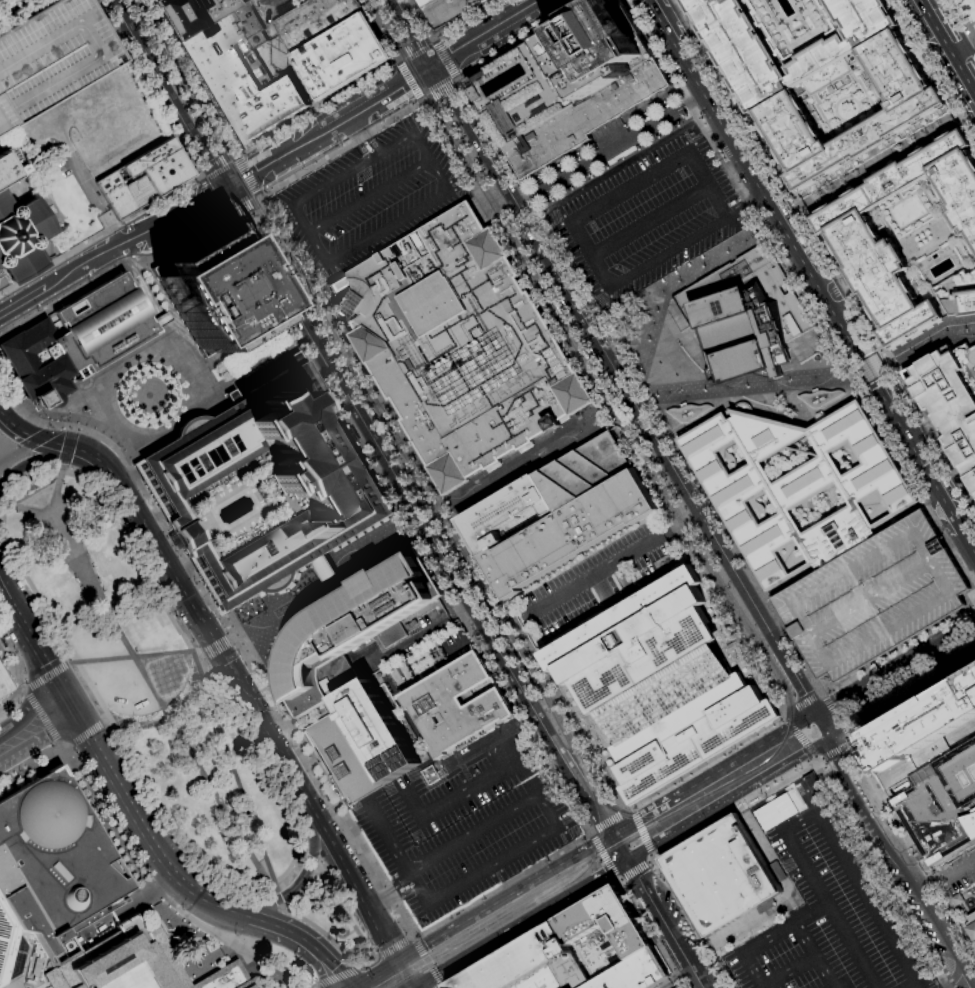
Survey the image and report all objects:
road: (0, 0)
building: (484, 1)
road: (536, 4)
parking lot: (274, 6)
road: (13, 7)
building: (445, 10)
building: (189, 13)
road: (24, 15)
road: (964, 16)
building: (861, 19)
building: (314, 20)
road: (658, 22)
road: (392, 25)
road: (442, 29)
road: (957, 29)
road: (414, 32)
road: (481, 37)
road: (427, 38)
road: (430, 39)
road: (413, 47)
road: (946, 47)
building: (739, 50)
building: (342, 56)
road: (398, 56)
building: (52, 57)
parking lot: (52, 57)
road: (443, 58)
building: (817, 59)
road: (940, 59)
road: (397, 60)
traffic signals: (433, 66)
road: (934, 68)
building: (239, 75)
road: (456, 78)
road: (408, 79)
road: (175, 80)
road: (456, 82)
building: (568, 85)
road: (149, 87)
road: (439, 91)
road: (865, 91)
road: (385, 94)
road: (167, 95)
road: (863, 99)
road: (421, 100)
road: (425, 102)
road: (834, 103)
building: (780, 110)
road: (819, 113)
parking lot: (594, 120)
road: (856, 122)
road: (829, 130)
road: (267, 134)
road: (611, 135)
road: (351, 142)
road: (4, 143)
road: (608, 149)
road: (252, 150)
road: (470, 153)
road: (233, 155)
road: (875, 155)
road: (236, 156)
building: (149, 157)
road: (281, 157)
road: (877, 160)
building: (9, 165)
road: (217, 165)
road: (881, 165)
road: (291, 170)
building: (167, 172)
road: (513, 173)
road: (20, 174)
road: (202, 174)
road: (248, 175)
road: (202, 176)
parking lot: (79, 177)
road: (88, 183)
road: (630, 186)
road: (737, 186)
building: (140, 191)
traffic signals: (225, 191)
building: (116, 194)
parking lot: (372, 195)
road: (213, 196)
road: (260, 196)
road: (370, 197)
road: (260, 200)
road: (295, 205)
road: (495, 207)
flagpole: (123, 208)
road: (744, 208)
road: (245, 209)
road: (189, 210)
road: (225, 217)
parking lot: (647, 218)
road: (229, 219)
road: (242, 221)
road: (649, 221)
road: (908, 222)
road: (100, 233)
street lamp: (752, 235)
building: (21, 238)
building: (852, 239)
road: (537, 242)
street lamp: (728, 250)
road: (666, 253)
road: (823, 254)
road: (99, 255)
road: (52, 258)
road: (820, 260)
street lamp: (704, 265)
road: (805, 268)
road: (1, 270)
road: (140, 279)
road: (9, 281)
street lamp: (679, 281)
road: (674, 283)
building: (213, 291)
road: (159, 293)
street lamp: (662, 293)
building: (958, 294)
road: (23, 300)
street lamp: (655, 313)
building: (743, 317)
street lamp: (966, 326)
street lamp: (946, 329)
road: (245, 338)
street lamp: (648, 338)
road: (929, 338)
building: (76, 340)
street lamp: (929, 340)
road: (142, 341)
building: (459, 347)
street lamp: (911, 350)
park: (254, 352)
traffic signals: (882, 365)
road: (262, 366)
road: (348, 367)
road: (869, 371)
traffic signals: (868, 372)
railway: (607, 374)
railway: (361, 378)
street lamp: (812, 379)
street lamp: (789, 380)
flagpole: (13, 384)
street lamp: (746, 385)
road: (748, 387)
street lamp: (704, 389)
street lamp: (681, 391)
park: (143, 394)
street lamp: (654, 394)
building: (819, 397)
flagpole: (23, 401)
road: (617, 401)
building: (950, 401)
building: (687, 412)
road: (652, 413)
road: (642, 419)
road: (15, 428)
road: (626, 428)
road: (41, 433)
road: (71, 447)
traffic signals: (71, 449)
road: (76, 451)
road: (10, 453)
road: (32, 454)
road: (31, 462)
railway: (649, 467)
flagpole: (136, 468)
road: (518, 470)
street lamp: (525, 470)
flagpole: (138, 471)
flagpole: (140, 474)
flagpole: (142, 478)
street lamp: (511, 478)
flagpole: (144, 481)
flagpole: (145, 484)
building: (269, 484)
building: (795, 484)
flagpole: (147, 487)
street lamp: (493, 489)
flagpole: (149, 490)
flagpole: (151, 493)
road: (58, 495)
flagpole: (153, 496)
street lamp: (482, 496)
flagpole: (154, 499)
flagpole: (157, 503)
road: (931, 503)
road: (3, 504)
flagpole: (158, 506)
road: (945, 508)
flagpole: (160, 509)
flagpole: (162, 511)
road: (29, 512)
building: (503, 513)
building: (573, 513)
flagpole: (164, 515)
road: (418, 520)
road: (942, 522)
road: (957, 527)
flagpole: (171, 532)
flagpole: (169, 533)
flagpole: (170, 536)
flagpole: (172, 540)
flagpole: (174, 543)
street lamp: (383, 543)
road: (968, 544)
road: (432, 545)
flagpole: (175, 546)
flagpole: (177, 549)
flagpole: (183, 550)
flagpole: (180, 551)
street lamp: (366, 552)
road: (378, 552)
street lamp: (350, 561)
flagpole: (194, 564)
road: (613, 564)
road: (728, 566)
flagpole: (196, 567)
flagpole: (198, 569)
flagpole: (199, 573)
flagpole: (201, 575)
building: (328, 575)
flagpole: (203, 578)
flagpole: (204, 580)
road: (332, 580)
flagpole: (206, 583)
parking lot: (595, 584)
street lamp: (311, 585)
flagpole: (208, 586)
flagpole: (210, 590)
flagpole: (211, 593)
street lamp: (294, 595)
flagpole: (213, 596)
road: (974, 597)
building: (873, 598)
parking lot: (873, 598)
flagpole: (215, 599)
flagpole: (217, 602)
flagpole: (219, 605)
flagpole: (221, 608)
road: (279, 611)
street lamp: (264, 613)
street lamp: (247, 622)
building: (351, 629)
road: (422, 633)
road: (469, 639)
road: (190, 642)
road: (216, 647)
traffic signals: (215, 649)
road: (137, 656)
road: (73, 663)
road: (894, 667)
road: (863, 668)
road: (28, 672)
road: (21, 673)
fountain: (169, 676)
road: (48, 677)
road: (270, 678)
building: (4, 685)
road: (9, 685)
building: (659, 685)
road: (25, 688)
traffic signals: (63, 693)
road: (23, 694)
railway: (540, 694)
road: (901, 694)
road: (819, 695)
road: (821, 695)
building: (456, 704)
road: (164, 706)
park: (167, 706)
road: (801, 706)
road: (544, 708)
road: (172, 713)
traffic signals: (75, 714)
road: (781, 714)
traffic signals: (814, 715)
road: (834, 716)
road: (256, 717)
road: (783, 717)
road: (43, 719)
road: (107, 719)
road: (778, 722)
road: (86, 731)
building: (376, 731)
road: (506, 735)
road: (799, 736)
traffic signals: (828, 739)
road: (848, 739)
road: (848, 744)
road: (94, 746)
road: (61, 747)
road: (67, 748)
road: (834, 751)
road: (817, 756)
building: (344, 757)
road: (821, 758)
road: (794, 760)
building: (931, 769)
road: (712, 773)
road: (234, 774)
road: (783, 780)
road: (874, 784)
road: (782, 798)
road: (455, 800)
road: (629, 810)
road: (630, 810)
road: (577, 813)
railway: (630, 818)
road: (610, 820)
parking lot: (466, 821)
road: (693, 821)
road: (591, 831)
road: (641, 831)
road: (472, 833)
road: (590, 833)
traffic signals: (612, 834)
road: (388, 835)
road: (619, 847)
road: (895, 850)
road: (603, 855)
road: (651, 855)
road: (510, 856)
road: (650, 860)
traffic signals: (627, 861)
building: (54, 864)
road: (143, 869)
road: (634, 870)
parking lot: (956, 872)
road: (410, 873)
building: (721, 875)
road: (947, 876)
road: (615, 878)
road: (619, 879)
road: (862, 887)
road: (296, 888)
road: (420, 890)
road: (389, 891)
road: (278, 898)
road: (505, 898)
road: (821, 898)
railway: (541, 900)
road: (581, 901)
road: (149, 905)
road: (283, 906)
road: (226, 907)
parking lot: (823, 908)
road: (136, 912)
railway: (486, 924)
road: (518, 924)
road: (665, 924)
road: (280, 926)
building: (971, 926)
road: (363, 938)
road: (393, 947)
railway: (450, 950)
building: (577, 952)
road: (766, 953)
road: (825, 957)
traffic signals: (398, 961)
road: (426, 961)
building: (137, 964)
road: (314, 964)
road: (332, 964)
road: (790, 967)
building: (9, 972)
road: (378, 974)
road: (396, 974)
road: (336, 976)
road: (676, 978)
road: (963, 984)
road: (440, 986)
road: (313, 987)
road: (357, 987)
traffic signals: (358, 987)
road: (359, 987)

